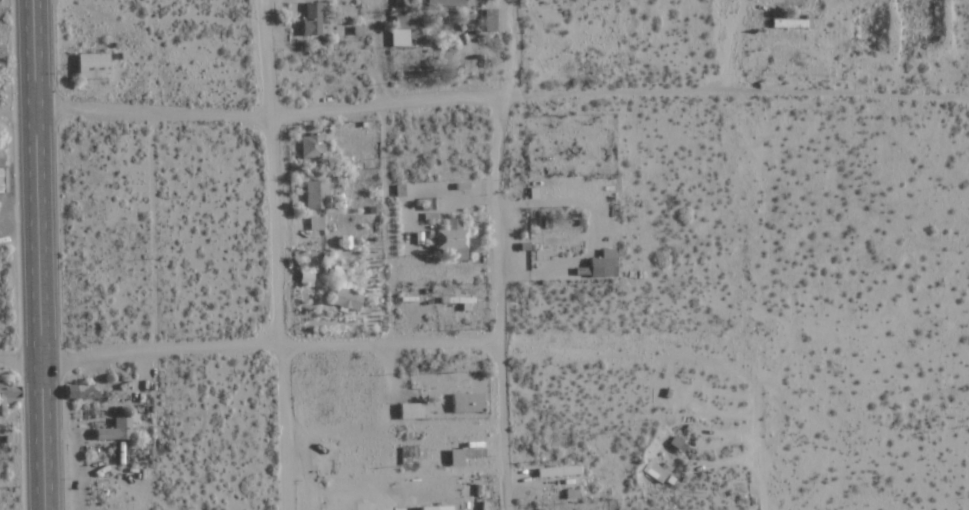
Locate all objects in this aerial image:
building: (445, 2)
building: (399, 5)
building: (311, 20)
building: (403, 23)
building: (791, 24)
road: (729, 43)
building: (93, 67)
road: (383, 104)
building: (312, 145)
building: (2, 172)
building: (316, 195)
building: (451, 239)
road: (509, 254)
road: (36, 255)
road: (275, 255)
building: (600, 266)
building: (346, 300)
road: (254, 343)
building: (82, 392)
building: (7, 394)
building: (467, 403)
building: (410, 411)
building: (116, 431)
building: (558, 471)
building: (654, 472)
building: (436, 508)

